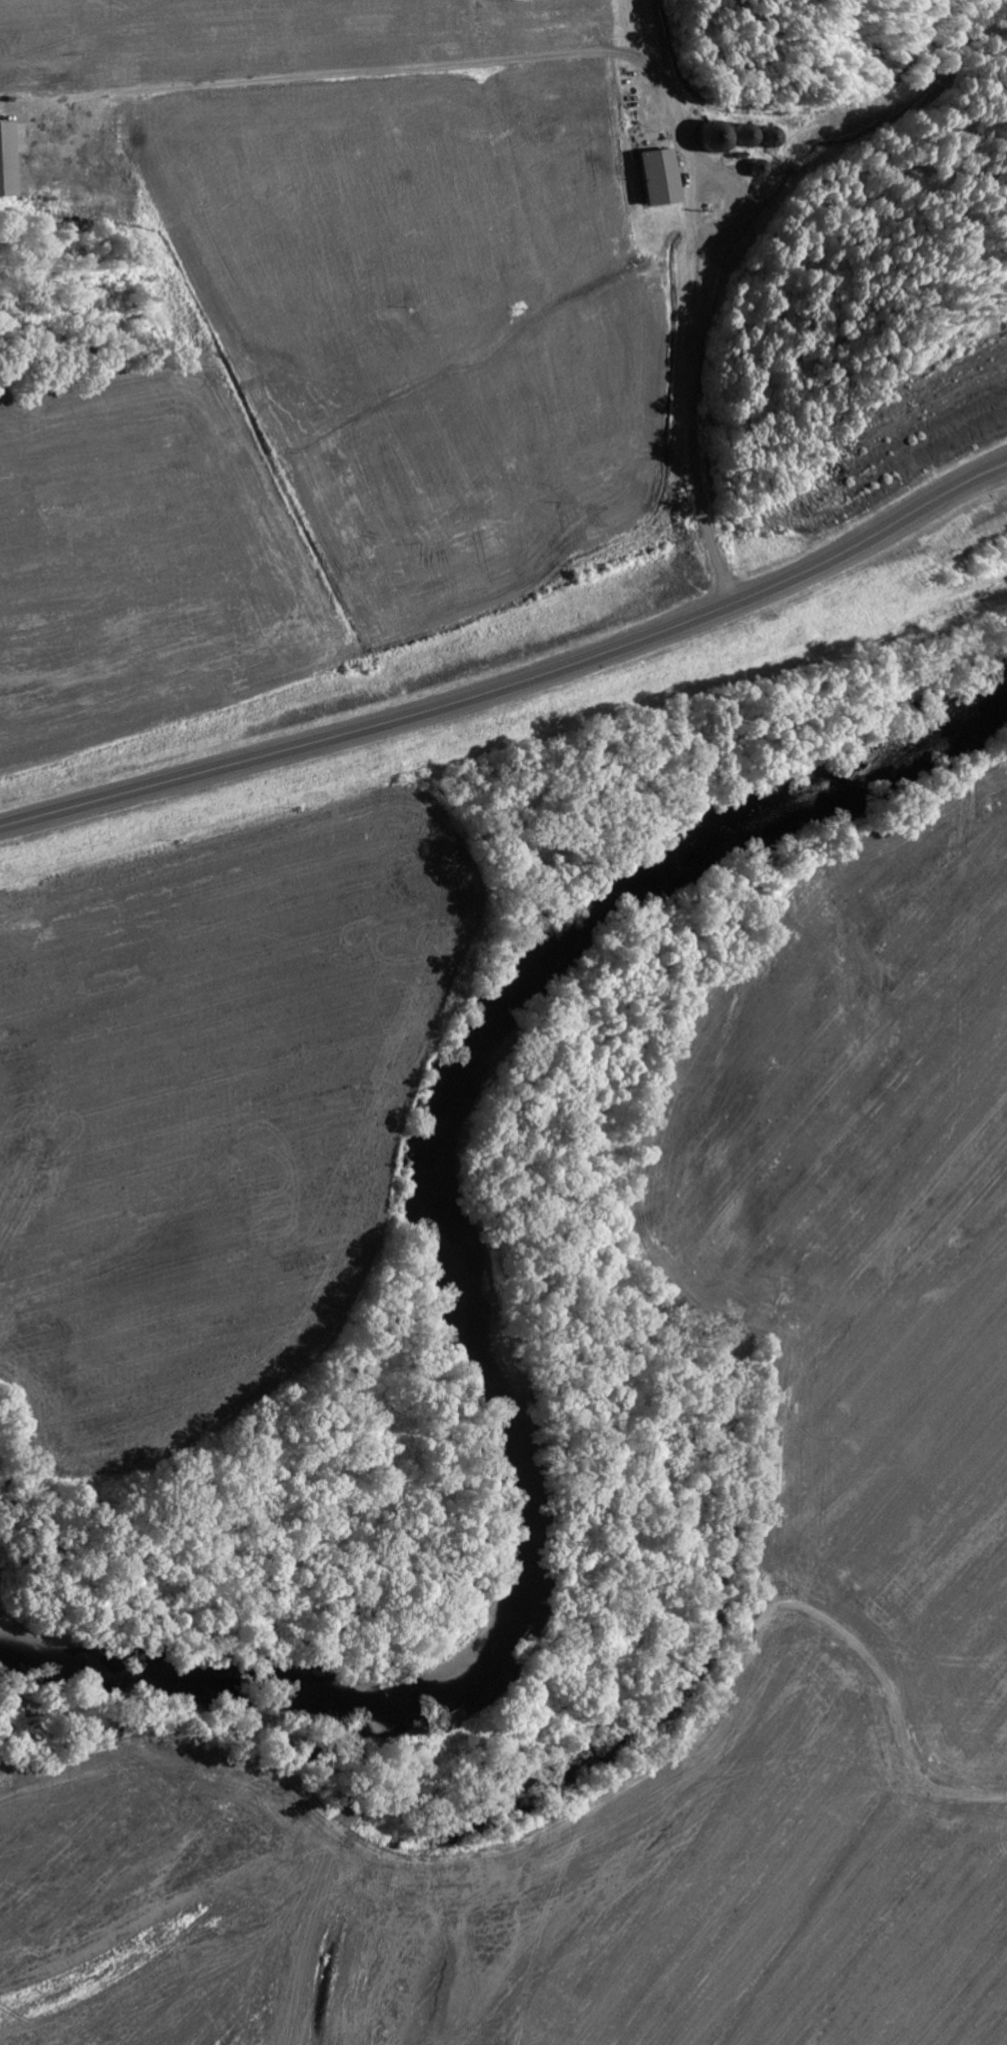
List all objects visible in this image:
road: (528, 137)
building: (5, 160)
building: (655, 176)
road: (515, 683)
river: (503, 1307)

